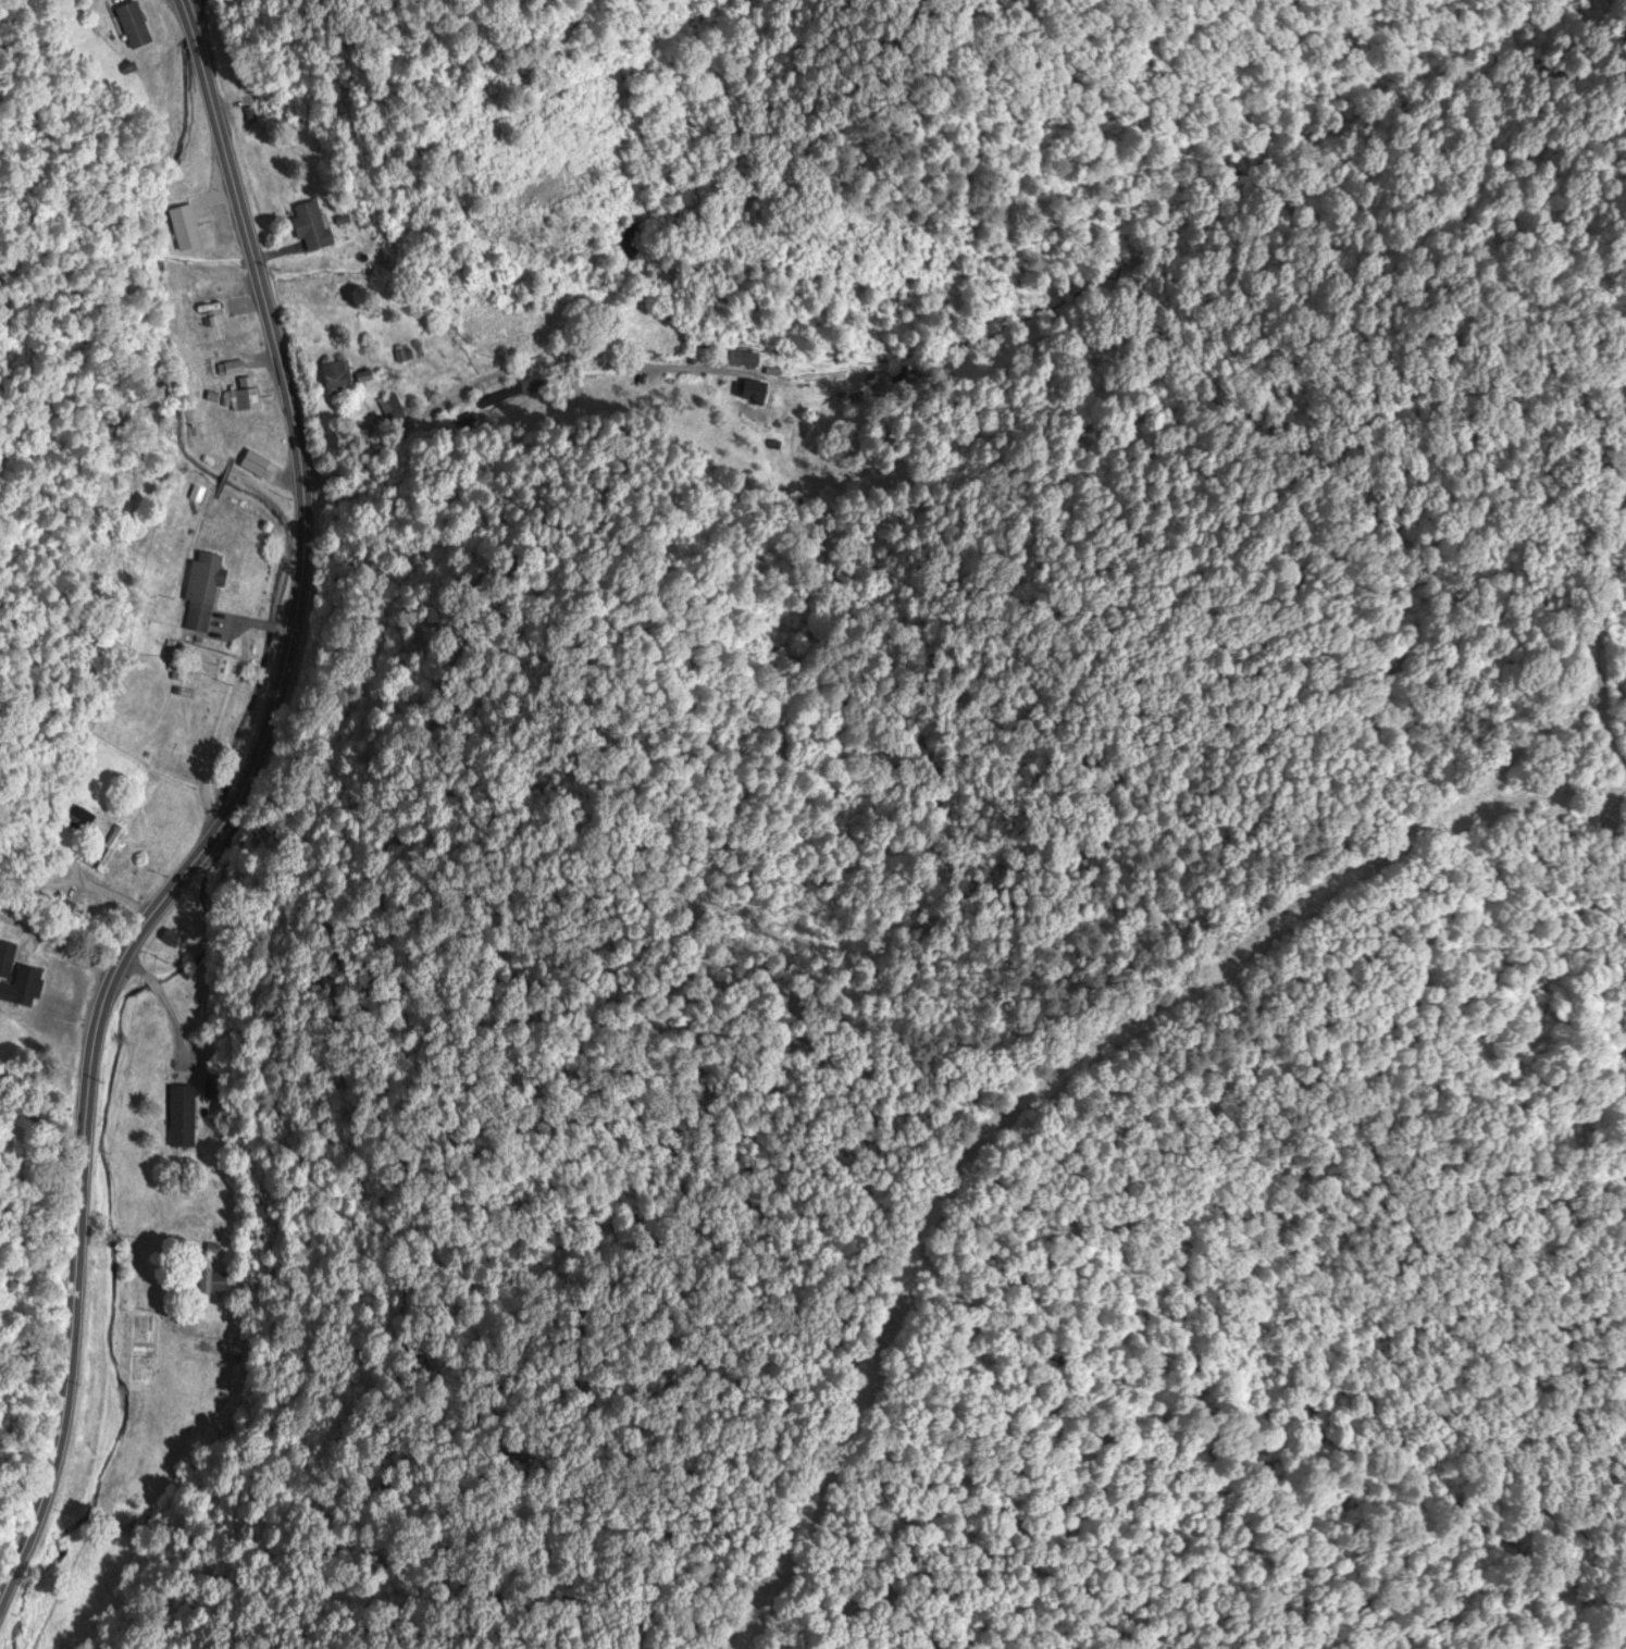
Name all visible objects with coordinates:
building: (131, 26)
building: (309, 225)
building: (183, 228)
building: (402, 356)
building: (742, 360)
building: (340, 379)
building: (752, 395)
building: (248, 400)
road: (500, 404)
building: (393, 412)
building: (201, 593)
road: (227, 817)
building: (167, 939)
building: (5, 959)
road: (1243, 988)
building: (181, 1117)
building: (208, 1282)
road: (821, 1515)
road: (1023, 1533)

